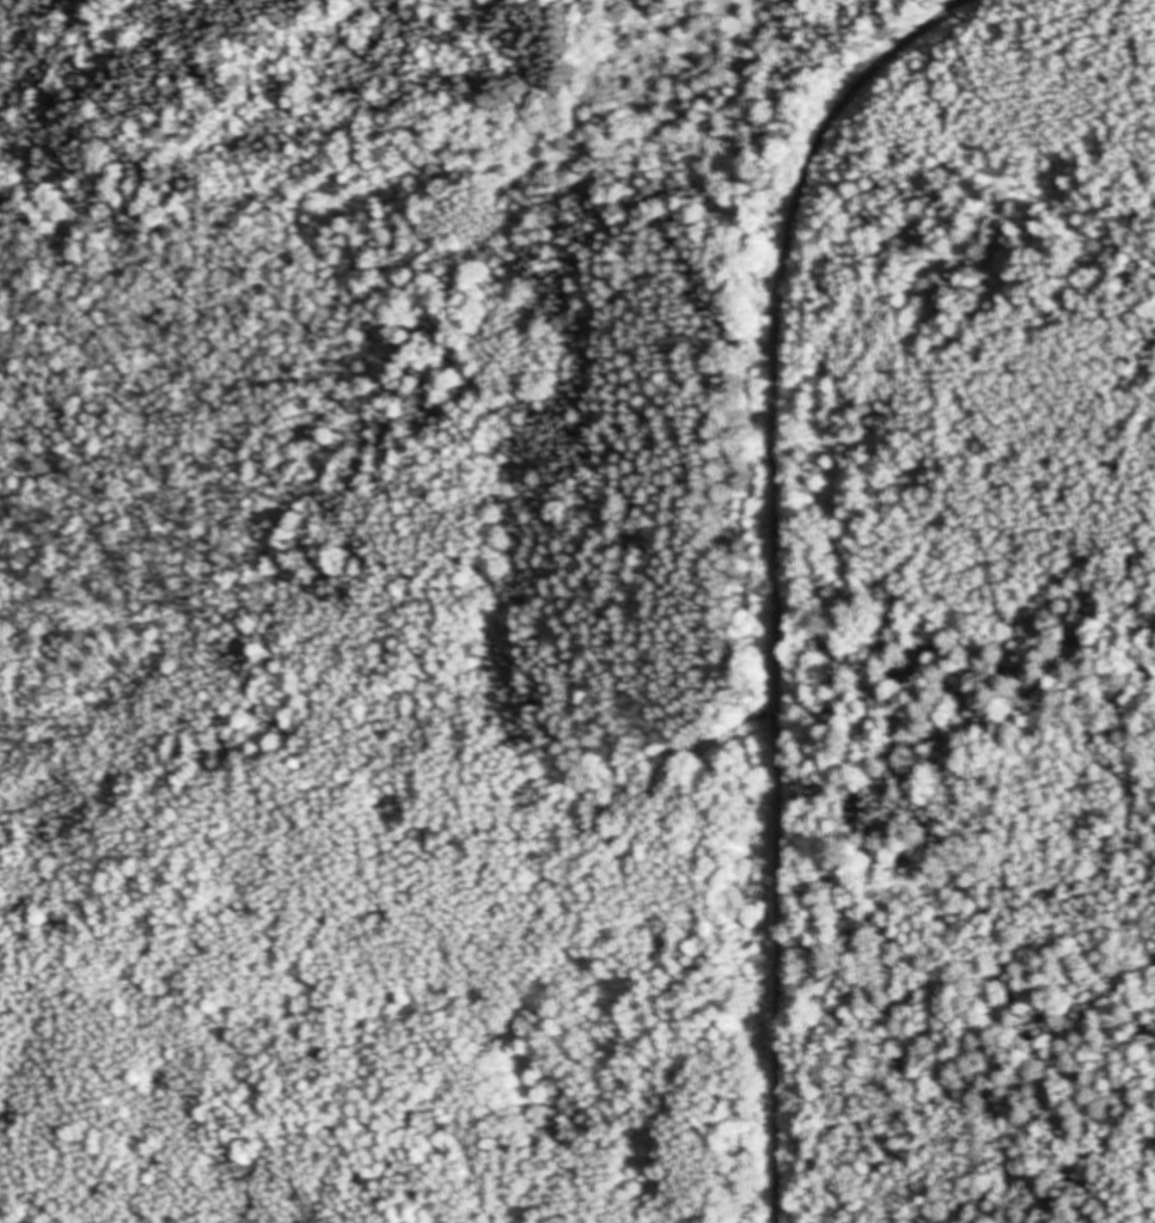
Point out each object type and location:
road: (881, 96)
road: (744, 707)

